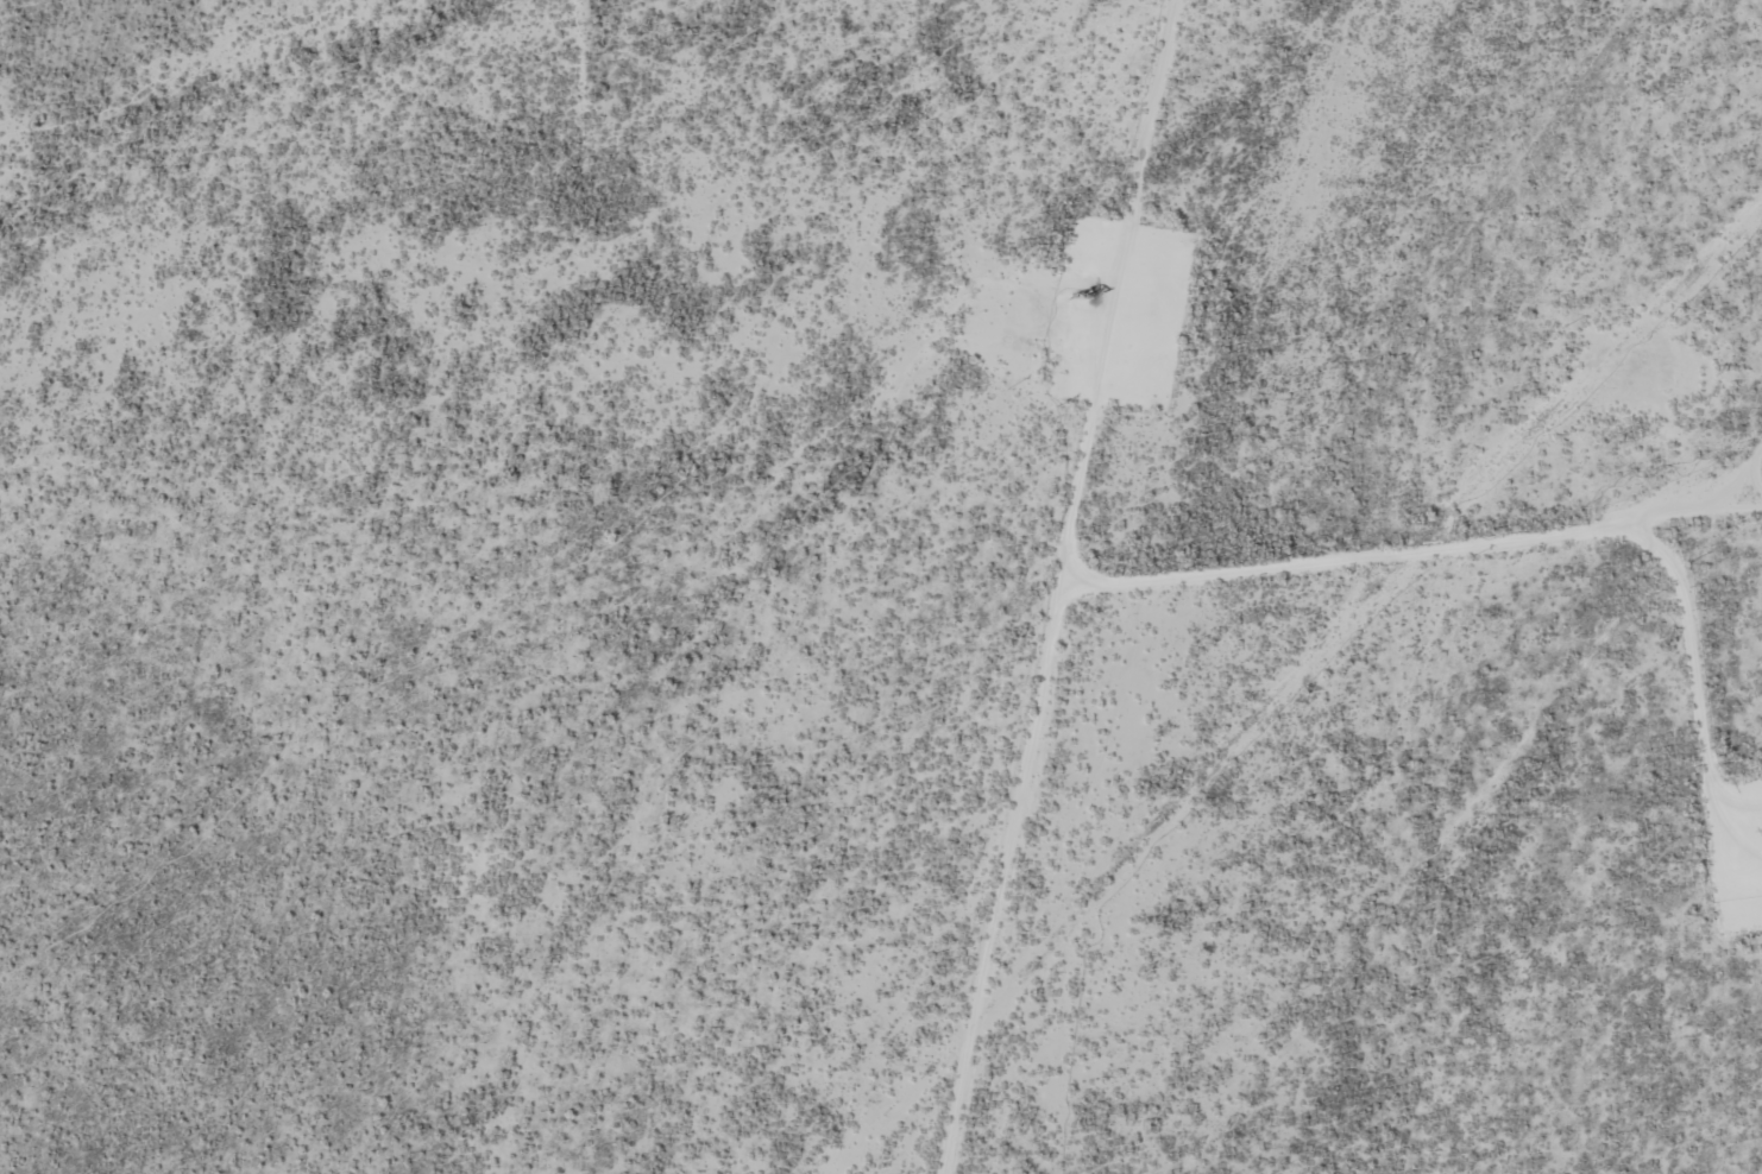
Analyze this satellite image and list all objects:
road: (1064, 587)

